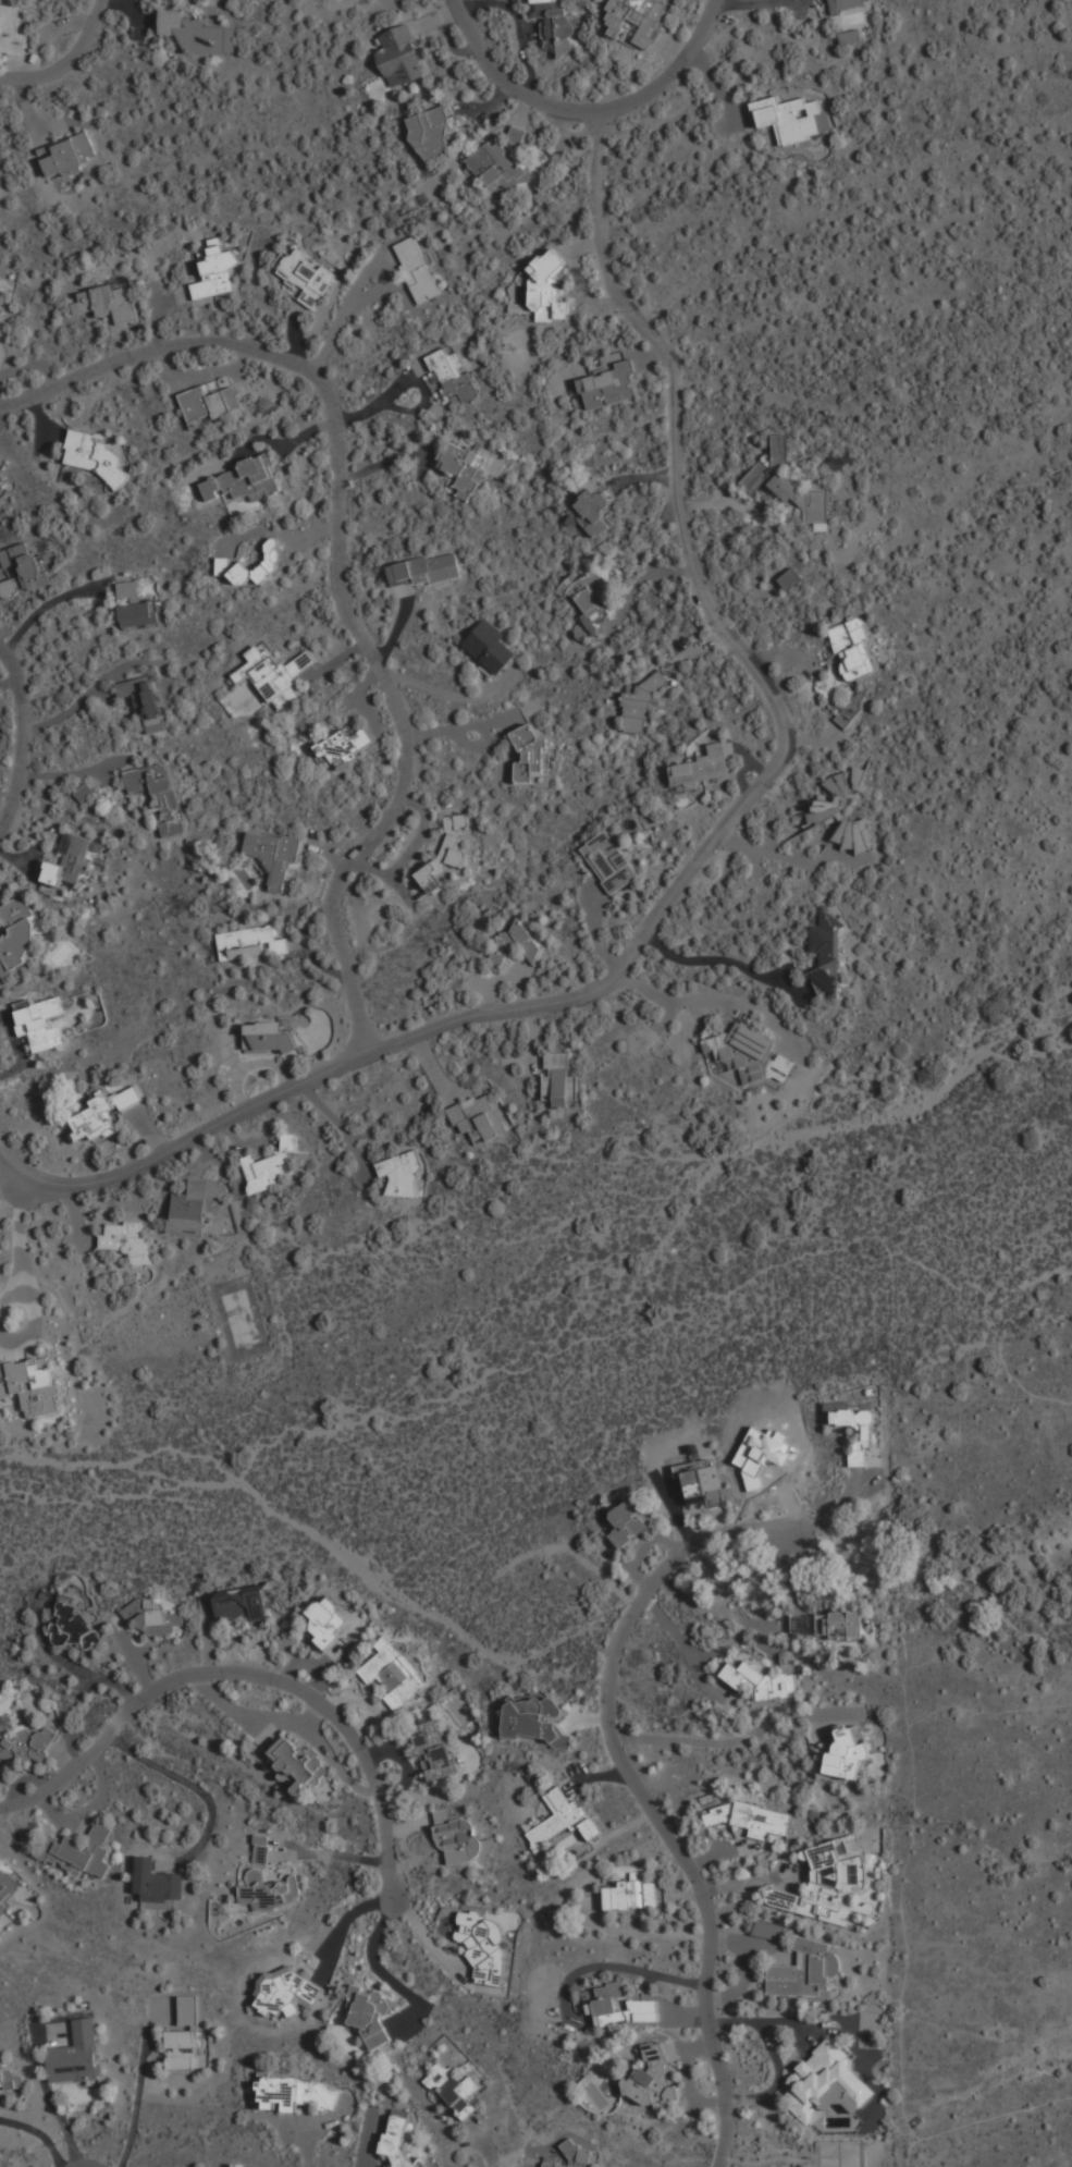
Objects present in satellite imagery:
building: (843, 4)
building: (638, 19)
building: (557, 20)
building: (13, 32)
building: (192, 33)
building: (849, 37)
building: (399, 56)
road: (71, 65)
road: (586, 111)
building: (791, 117)
building: (431, 133)
building: (516, 134)
building: (69, 155)
building: (498, 164)
building: (330, 248)
building: (417, 268)
building: (215, 269)
building: (307, 276)
building: (547, 290)
building: (109, 301)
building: (454, 374)
building: (608, 385)
building: (209, 404)
building: (93, 455)
building: (767, 462)
building: (461, 467)
building: (244, 479)
building: (1, 480)
building: (800, 493)
building: (592, 510)
building: (231, 563)
building: (25, 564)
road: (343, 566)
building: (424, 568)
building: (790, 577)
building: (127, 588)
building: (589, 596)
road: (42, 613)
building: (140, 613)
building: (489, 645)
building: (853, 648)
building: (274, 674)
building: (642, 697)
road: (84, 699)
building: (145, 701)
road: (21, 737)
building: (343, 744)
building: (528, 754)
building: (701, 768)
road: (71, 773)
building: (155, 786)
building: (82, 793)
building: (825, 809)
building: (446, 850)
road: (704, 855)
building: (272, 856)
building: (71, 860)
building: (608, 860)
building: (16, 934)
building: (251, 941)
building: (515, 944)
building: (827, 957)
road: (725, 960)
building: (41, 1024)
building: (267, 1036)
building: (748, 1053)
building: (558, 1078)
building: (102, 1112)
building: (478, 1116)
building: (267, 1166)
building: (401, 1172)
building: (194, 1203)
building: (126, 1239)
road: (675, 1309)
park: (239, 1317)
building: (30, 1383)
building: (857, 1432)
building: (702, 1483)
building: (628, 1522)
building: (241, 1603)
road: (420, 1613)
building: (152, 1617)
building: (330, 1620)
building: (828, 1625)
building: (73, 1627)
road: (687, 1651)
road: (251, 1672)
building: (395, 1673)
building: (763, 1680)
building: (535, 1721)
road: (732, 1735)
building: (26, 1742)
building: (434, 1748)
building: (848, 1750)
building: (298, 1763)
road: (639, 1786)
road: (195, 1788)
building: (749, 1817)
building: (564, 1820)
building: (460, 1837)
building: (78, 1850)
road: (340, 1856)
building: (267, 1880)
building: (156, 1883)
building: (9, 1885)
building: (826, 1885)
building: (632, 1894)
road: (344, 1920)
building: (768, 1931)
building: (484, 1945)
building: (803, 1972)
building: (285, 1988)
building: (608, 2003)
building: (370, 2013)
building: (185, 2050)
building: (77, 2056)
building: (9, 2077)
building: (652, 2079)
building: (826, 2084)
building: (454, 2085)
building: (296, 2093)
building: (396, 2140)
building: (574, 2156)
road: (87, 2165)

